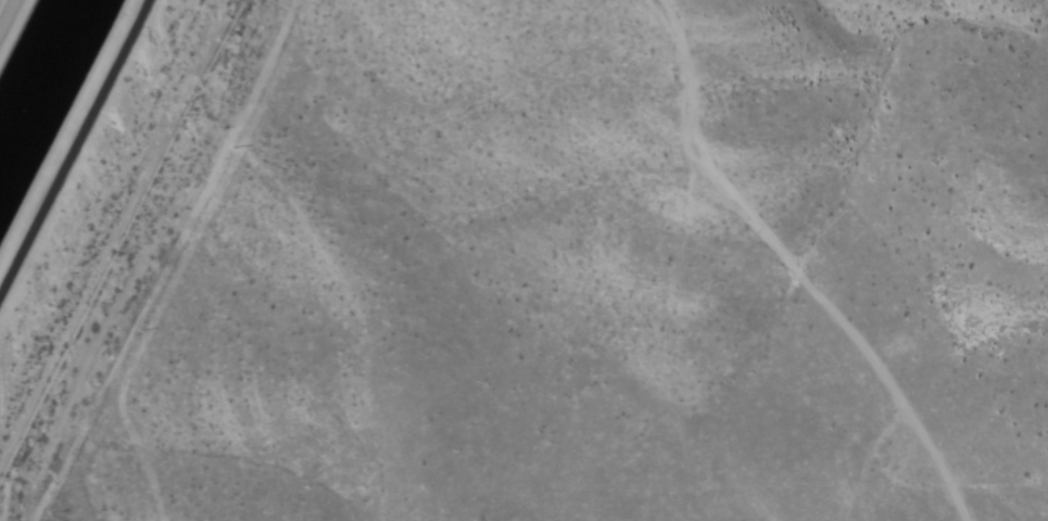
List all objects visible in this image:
road: (5, 12)
road: (74, 149)
road: (699, 263)

